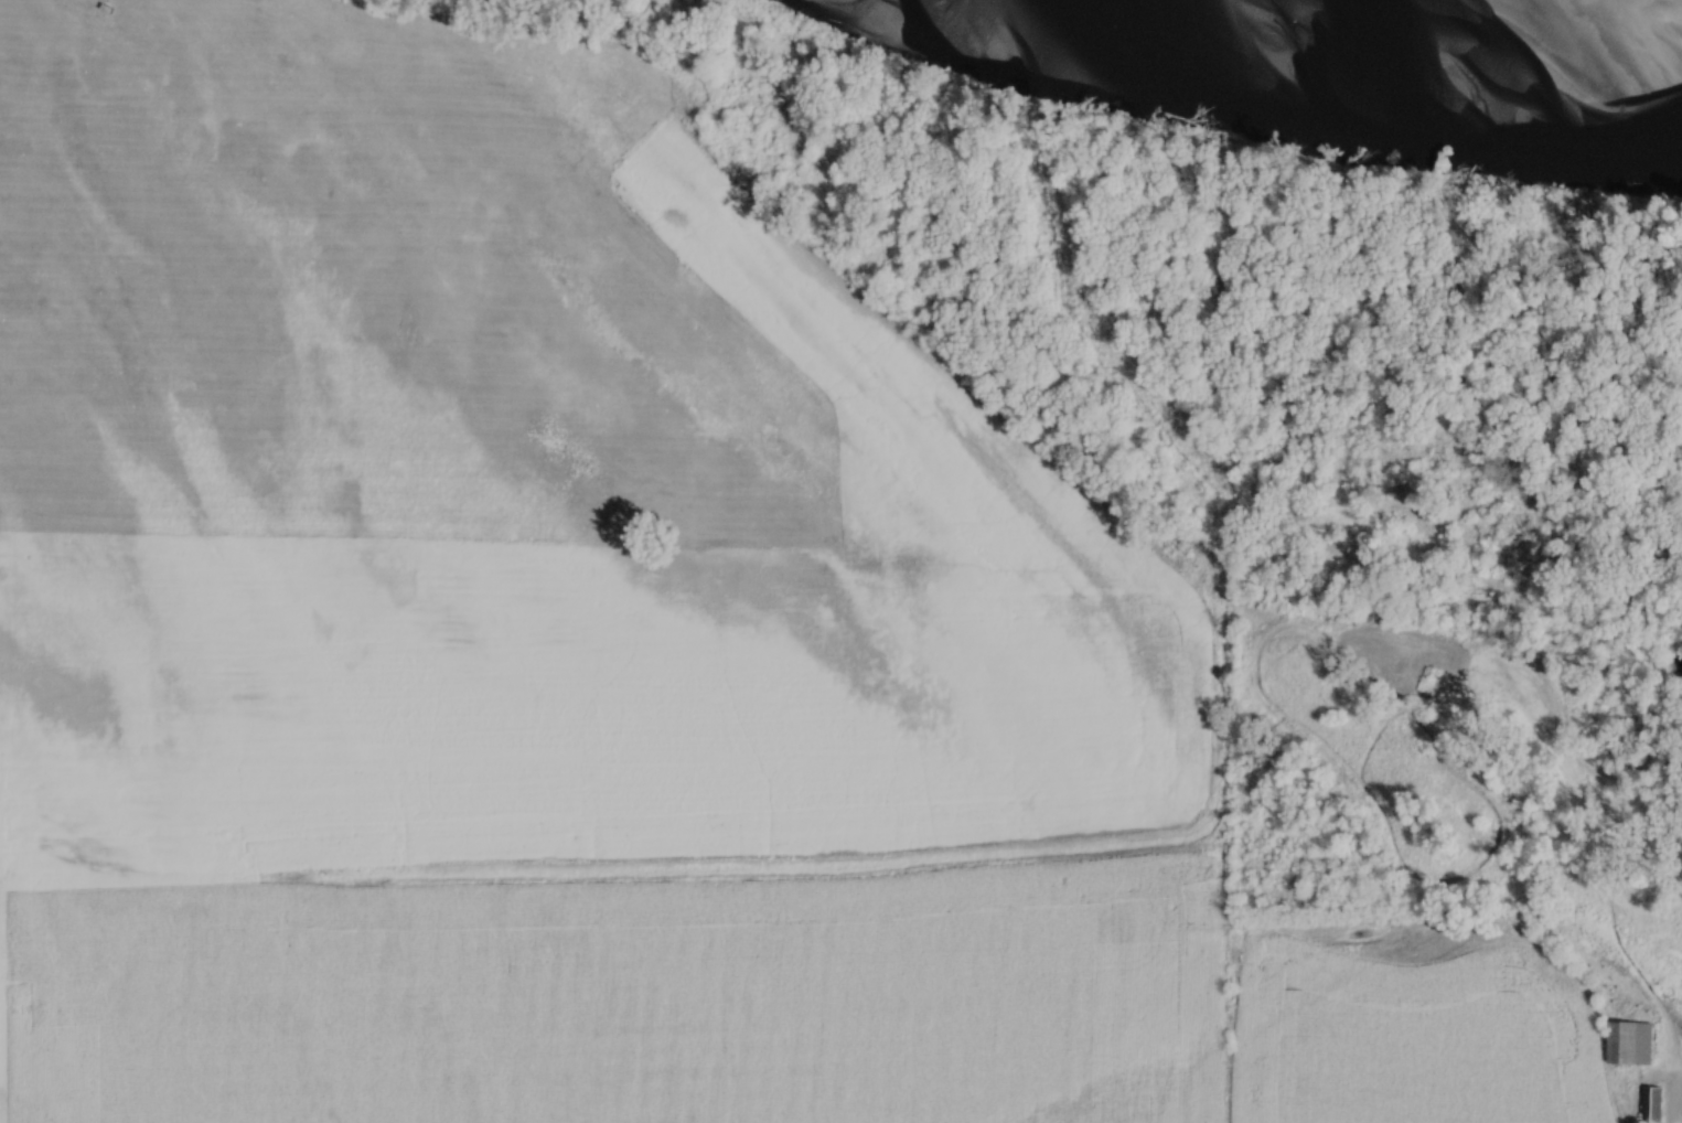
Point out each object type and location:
building: (1632, 1045)
building: (1656, 1105)

